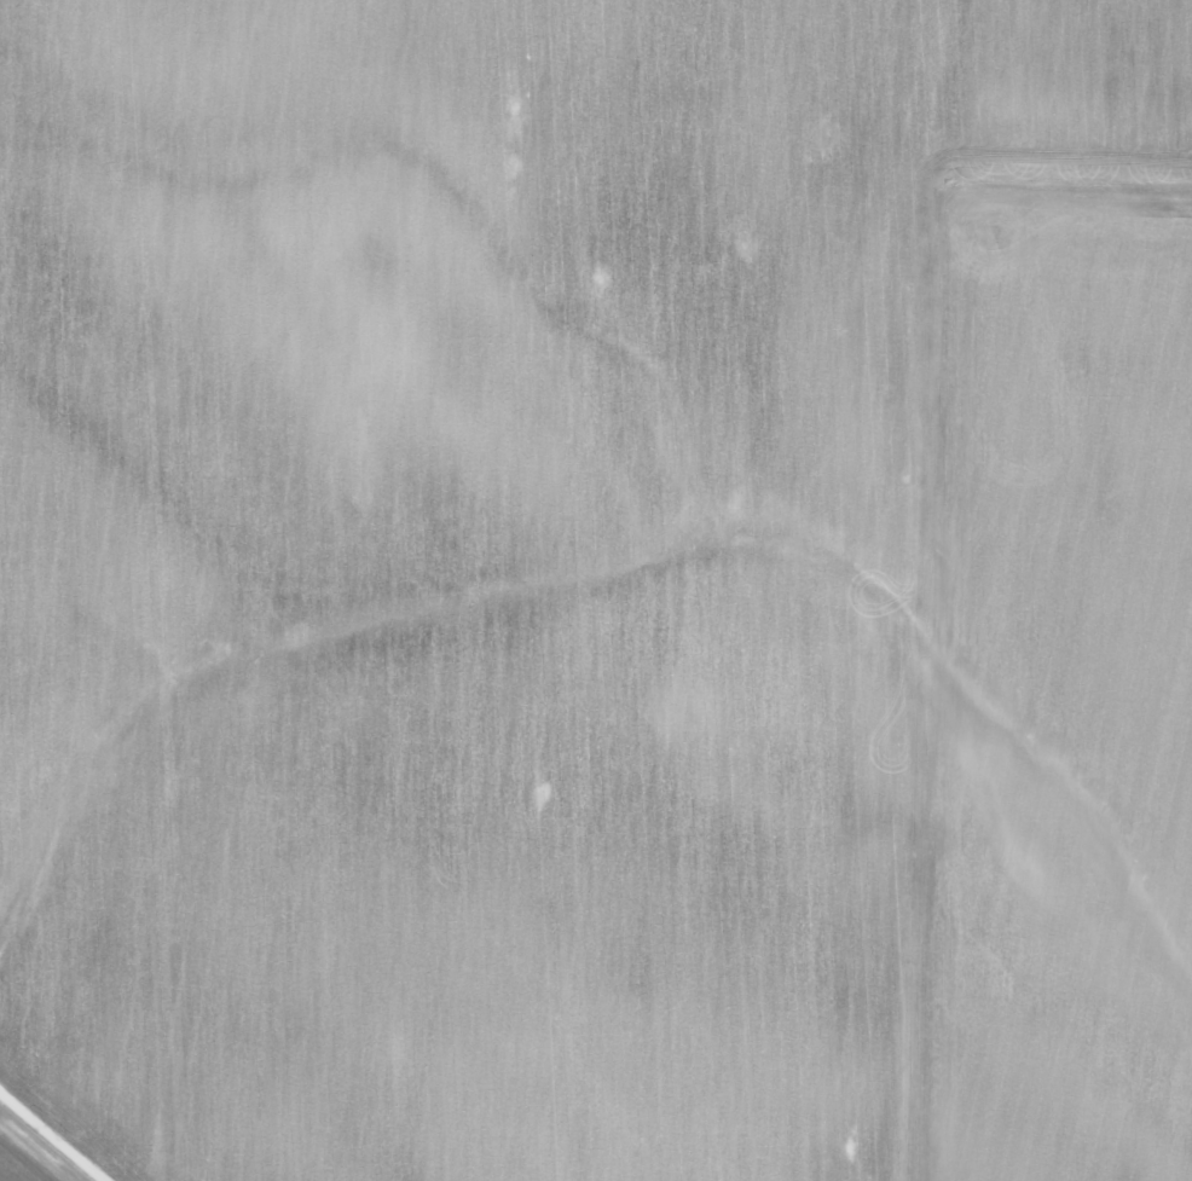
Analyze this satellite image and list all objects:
road: (933, 88)

